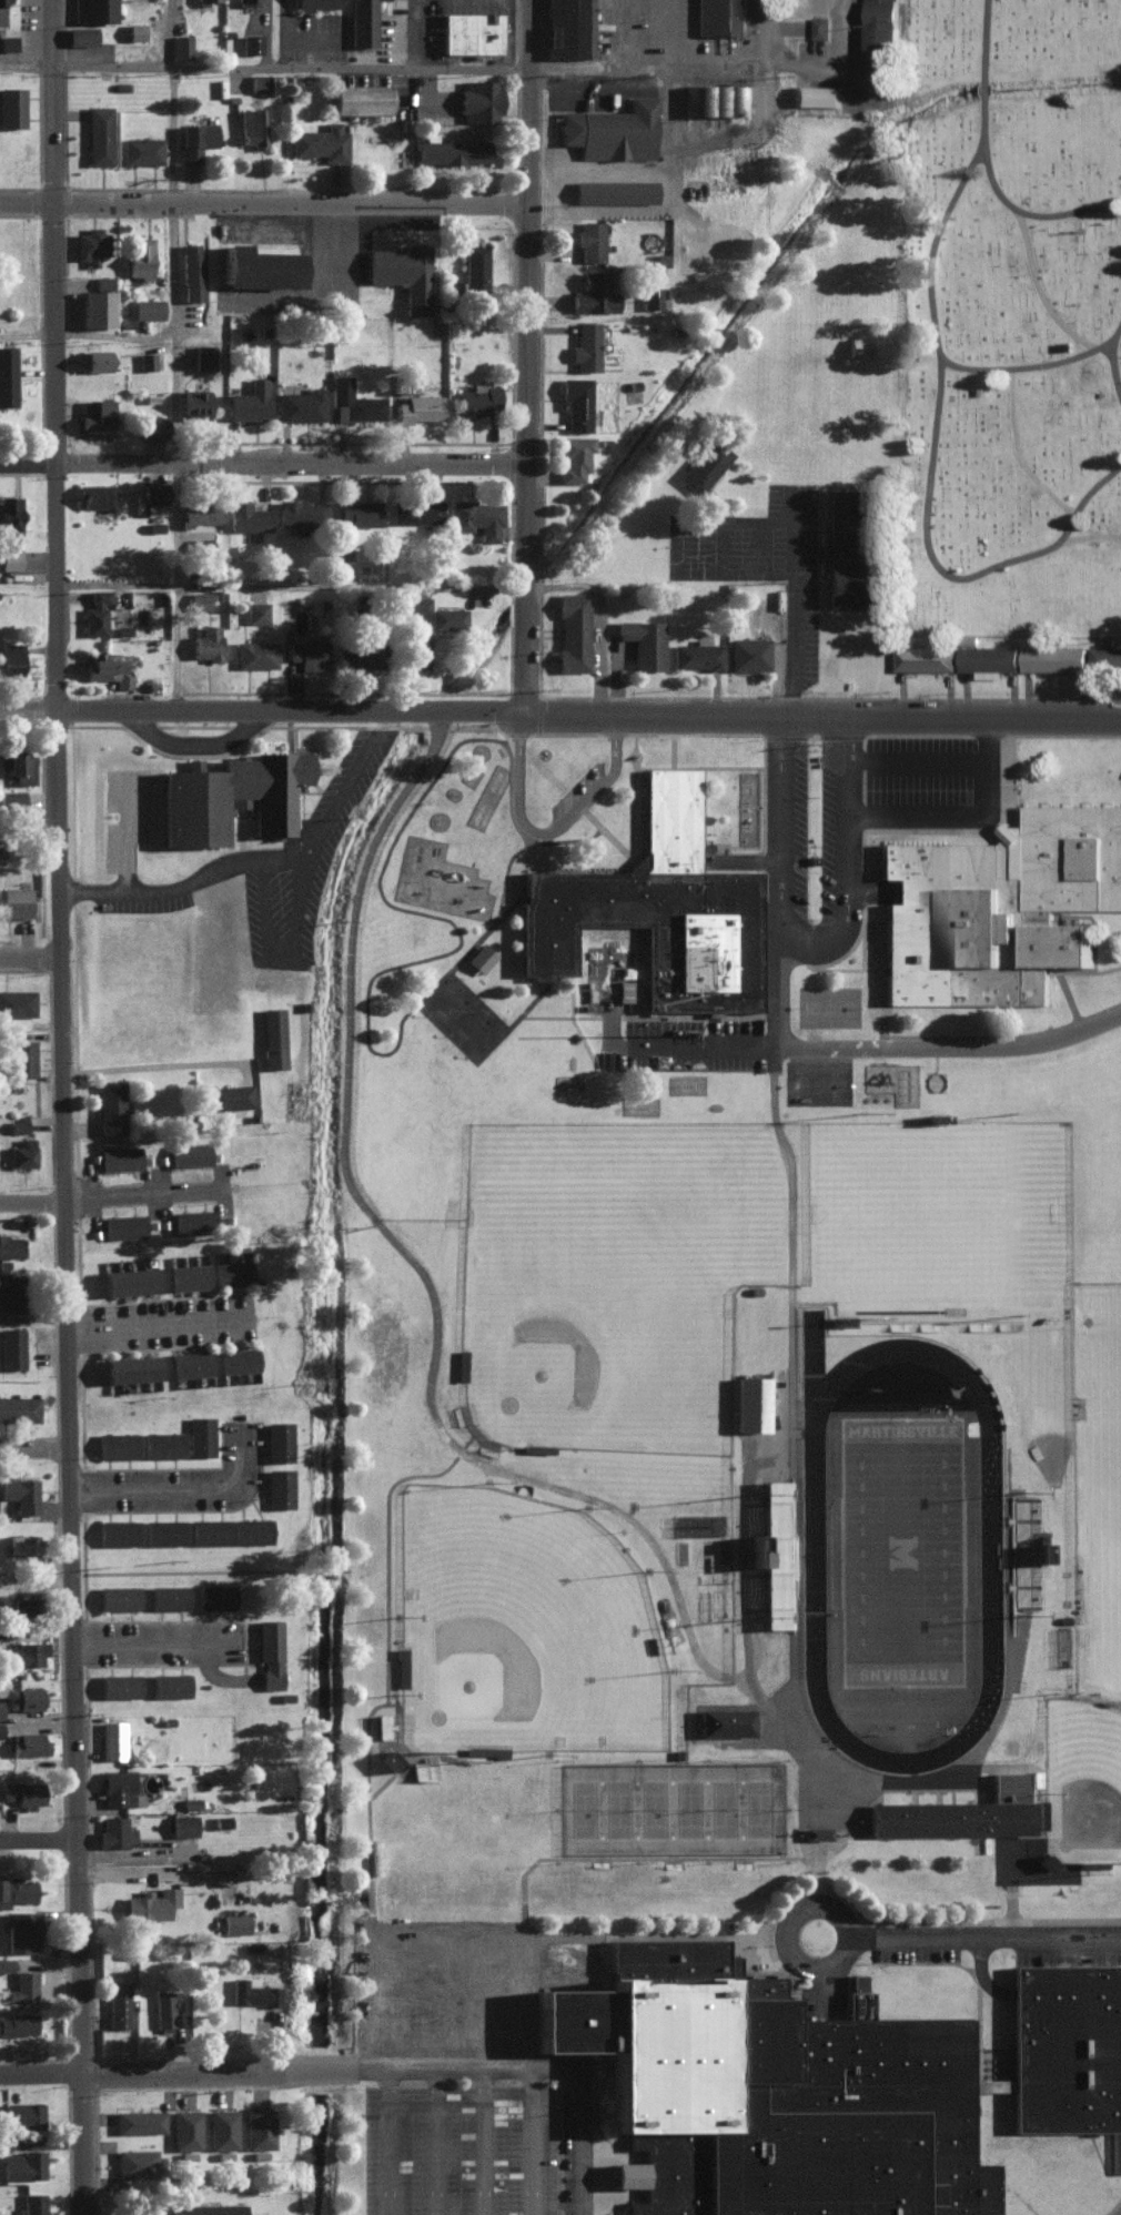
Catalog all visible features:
building: (7, 0)
building: (198, 0)
building: (243, 2)
building: (315, 3)
building: (93, 10)
building: (1, 11)
building: (719, 17)
building: (363, 22)
building: (819, 26)
building: (568, 28)
building: (135, 30)
road: (287, 30)
building: (471, 31)
road: (618, 33)
building: (80, 34)
building: (880, 36)
building: (7, 41)
building: (251, 42)
building: (181, 44)
road: (834, 63)
road: (382, 68)
road: (993, 69)
building: (259, 81)
building: (816, 94)
building: (361, 98)
road: (61, 99)
road: (182, 99)
building: (716, 99)
building: (479, 100)
road: (525, 100)
building: (11, 105)
road: (764, 105)
building: (252, 125)
building: (612, 129)
building: (99, 133)
building: (195, 139)
building: (321, 142)
building: (141, 150)
building: (451, 150)
road: (675, 160)
building: (615, 190)
road: (1118, 196)
road: (262, 200)
road: (1037, 204)
road: (615, 210)
building: (590, 239)
building: (91, 244)
building: (140, 255)
building: (259, 266)
building: (475, 267)
building: (191, 270)
building: (404, 272)
building: (103, 281)
road: (1048, 282)
building: (594, 292)
road: (325, 295)
building: (654, 296)
building: (97, 307)
building: (148, 307)
park: (1017, 307)
road: (945, 326)
road: (173, 331)
road: (26, 333)
road: (1113, 343)
building: (586, 345)
building: (859, 346)
building: (203, 356)
building: (98, 358)
building: (145, 360)
building: (7, 375)
building: (249, 399)
building: (476, 399)
building: (354, 401)
building: (576, 402)
building: (194, 403)
building: (301, 404)
building: (418, 407)
building: (97, 413)
building: (151, 425)
road: (1028, 445)
road: (523, 456)
building: (574, 456)
road: (261, 463)
building: (704, 466)
building: (95, 495)
building: (153, 496)
building: (202, 509)
building: (415, 510)
building: (358, 513)
building: (302, 514)
building: (246, 516)
building: (477, 517)
building: (9, 530)
road: (1087, 530)
building: (202, 544)
building: (342, 553)
building: (852, 554)
road: (949, 562)
road: (189, 587)
road: (290, 587)
building: (200, 599)
building: (412, 604)
building: (95, 611)
building: (256, 611)
building: (447, 617)
road: (596, 617)
road: (791, 617)
building: (573, 630)
building: (644, 641)
building: (208, 643)
building: (414, 649)
building: (309, 653)
building: (747, 653)
building: (255, 654)
building: (360, 654)
building: (696, 655)
building: (1104, 655)
building: (10, 657)
building: (923, 657)
building: (988, 657)
building: (1053, 657)
building: (107, 668)
road: (560, 711)
road: (999, 730)
road: (862, 731)
road: (208, 748)
road: (930, 750)
building: (18, 763)
building: (231, 793)
building: (11, 796)
road: (955, 806)
road: (549, 829)
road: (28, 835)
road: (312, 882)
road: (190, 891)
building: (14, 900)
building: (998, 904)
building: (656, 909)
road: (808, 934)
building: (481, 957)
road: (29, 958)
park: (840, 999)
building: (17, 1002)
building: (272, 1035)
road: (899, 1038)
road: (787, 1045)
road: (650, 1053)
building: (20, 1056)
road: (163, 1068)
park: (830, 1074)
building: (229, 1095)
building: (110, 1106)
building: (17, 1123)
road: (61, 1136)
building: (189, 1152)
building: (22, 1153)
building: (120, 1156)
road: (149, 1195)
road: (31, 1200)
park: (938, 1208)
building: (193, 1220)
building: (123, 1224)
building: (9, 1244)
building: (231, 1273)
building: (186, 1274)
building: (129, 1280)
building: (10, 1291)
building: (840, 1319)
road: (162, 1326)
park: (596, 1326)
building: (11, 1346)
building: (236, 1358)
building: (191, 1362)
building: (131, 1367)
building: (751, 1402)
building: (19, 1407)
building: (201, 1434)
building: (277, 1440)
building: (162, 1443)
building: (114, 1444)
road: (463, 1447)
road: (33, 1449)
road: (245, 1463)
building: (279, 1487)
building: (20, 1490)
road: (154, 1491)
building: (209, 1529)
building: (252, 1529)
building: (117, 1530)
building: (163, 1531)
building: (21, 1543)
park: (902, 1550)
building: (776, 1551)
track: (989, 1554)
road: (755, 1565)
road: (353, 1574)
road: (337, 1575)
road: (202, 1576)
building: (169, 1595)
building: (214, 1595)
building: (117, 1596)
building: (23, 1605)
park: (534, 1631)
road: (156, 1648)
building: (270, 1651)
building: (27, 1652)
building: (401, 1666)
road: (398, 1676)
building: (170, 1682)
road: (230, 1682)
building: (118, 1683)
building: (24, 1698)
building: (0, 1708)
building: (726, 1720)
building: (383, 1725)
building: (0, 1729)
building: (111, 1737)
building: (28, 1742)
building: (492, 1750)
building: (390, 1759)
building: (422, 1769)
park: (1088, 1770)
building: (115, 1784)
building: (23, 1792)
park: (736, 1800)
park: (772, 1800)
park: (593, 1801)
park: (630, 1801)
park: (666, 1801)
park: (700, 1801)
building: (951, 1817)
building: (221, 1820)
building: (183, 1824)
building: (114, 1830)
building: (816, 1831)
road: (39, 1843)
road: (156, 1879)
building: (17, 1889)
building: (148, 1905)
building: (235, 1922)
building: (20, 1930)
road: (982, 1930)
road: (465, 1938)
road: (494, 1941)
road: (447, 1950)
road: (784, 1952)
building: (4, 1962)
building: (22, 1984)
road: (535, 1991)
building: (253, 1993)
road: (494, 1994)
parking lot: (451, 2000)
road: (400, 2001)
building: (117, 2003)
road: (447, 2006)
building: (163, 2007)
building: (18, 2022)
road: (536, 2057)
road: (549, 2061)
road: (494, 2062)
road: (401, 2071)
road: (447, 2071)
road: (224, 2073)
road: (40, 2075)
building: (832, 2084)
building: (22, 2112)
building: (139, 2120)
building: (222, 2127)
building: (261, 2127)
building: (184, 2128)
road: (80, 2145)
road: (495, 2146)
road: (539, 2146)
parking lot: (473, 2150)
road: (401, 2153)
road: (447, 2153)
building: (135, 2162)
building: (23, 2163)
building: (32, 2204)
building: (206, 2208)
building: (117, 2213)

